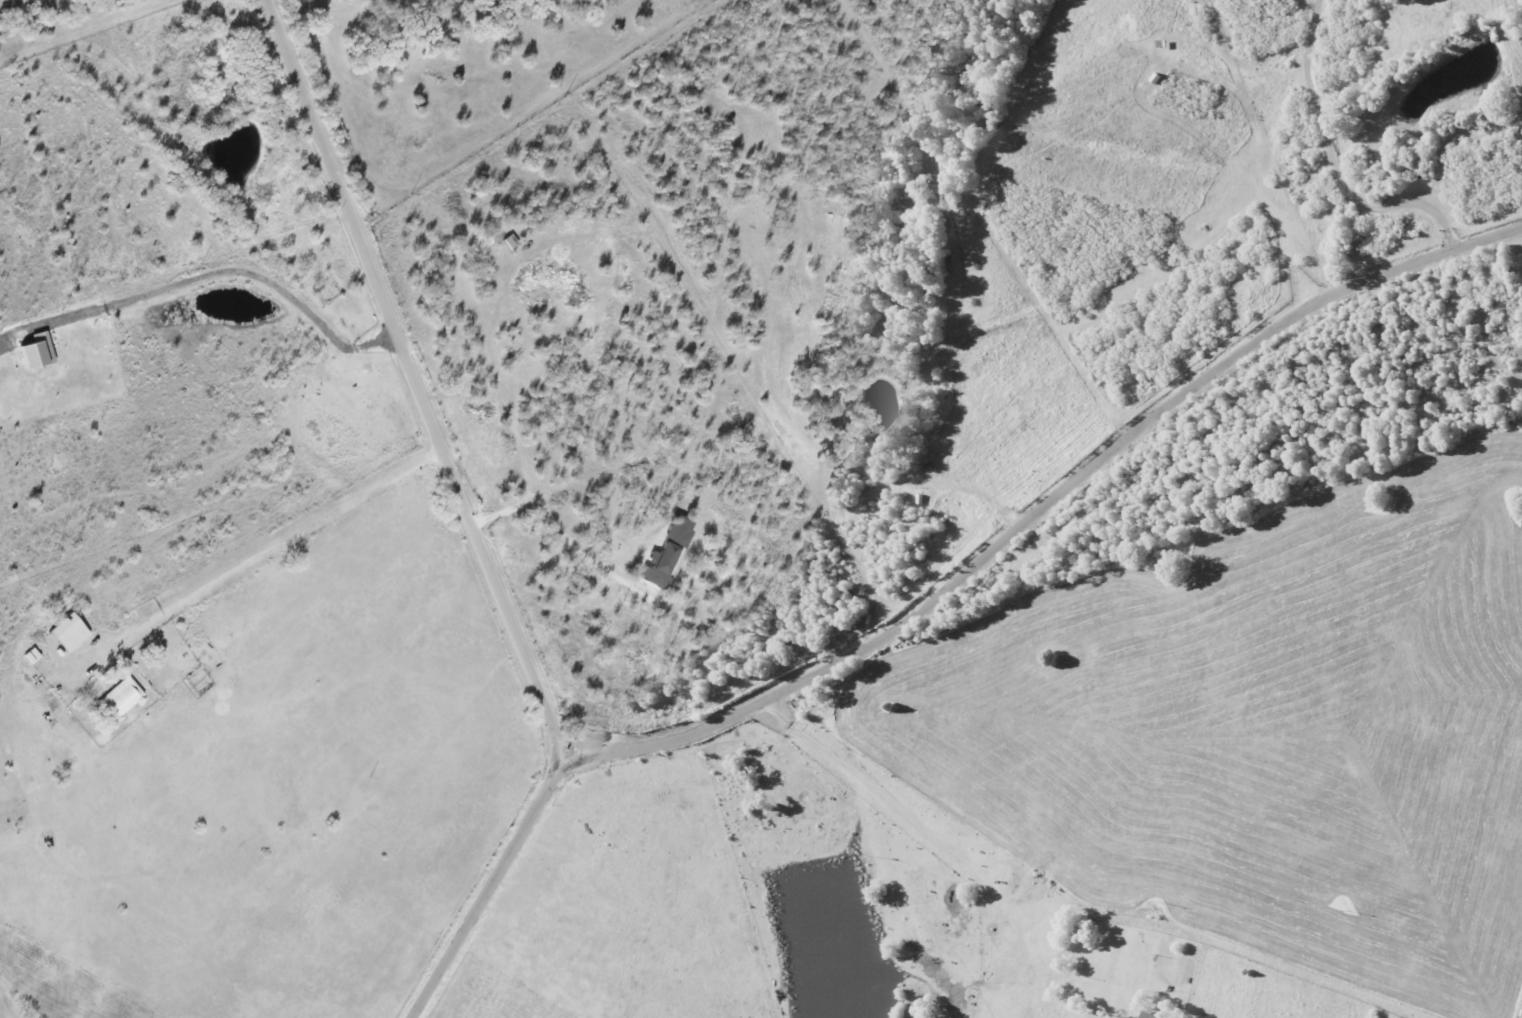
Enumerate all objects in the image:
road: (243, 271)
building: (39, 351)
road: (416, 379)
road: (1046, 505)
road: (544, 510)
road: (259, 553)
building: (667, 553)
building: (70, 632)
building: (123, 696)
road: (918, 823)
road: (488, 888)

